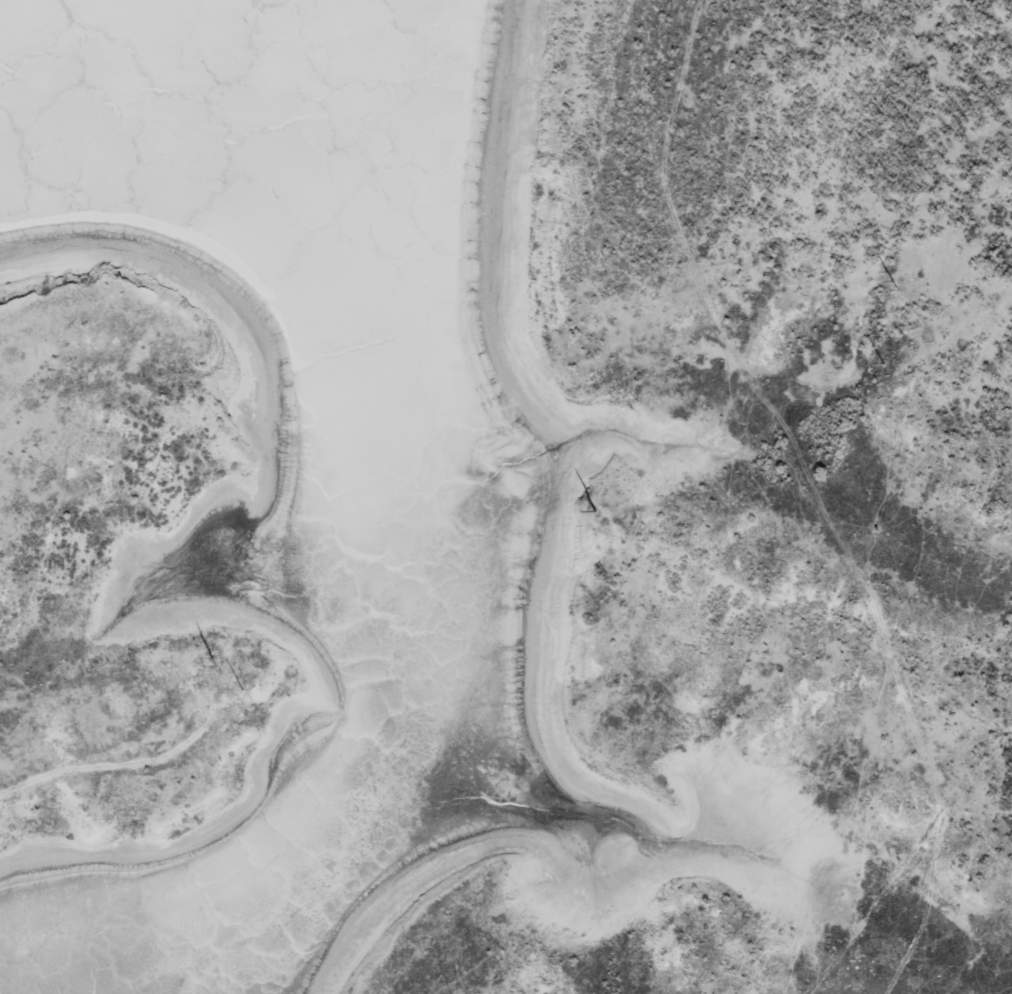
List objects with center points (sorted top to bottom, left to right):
power tower: (892, 281)
power tower: (883, 363)
power tower: (596, 510)
power tower: (215, 660)
power tower: (244, 688)

